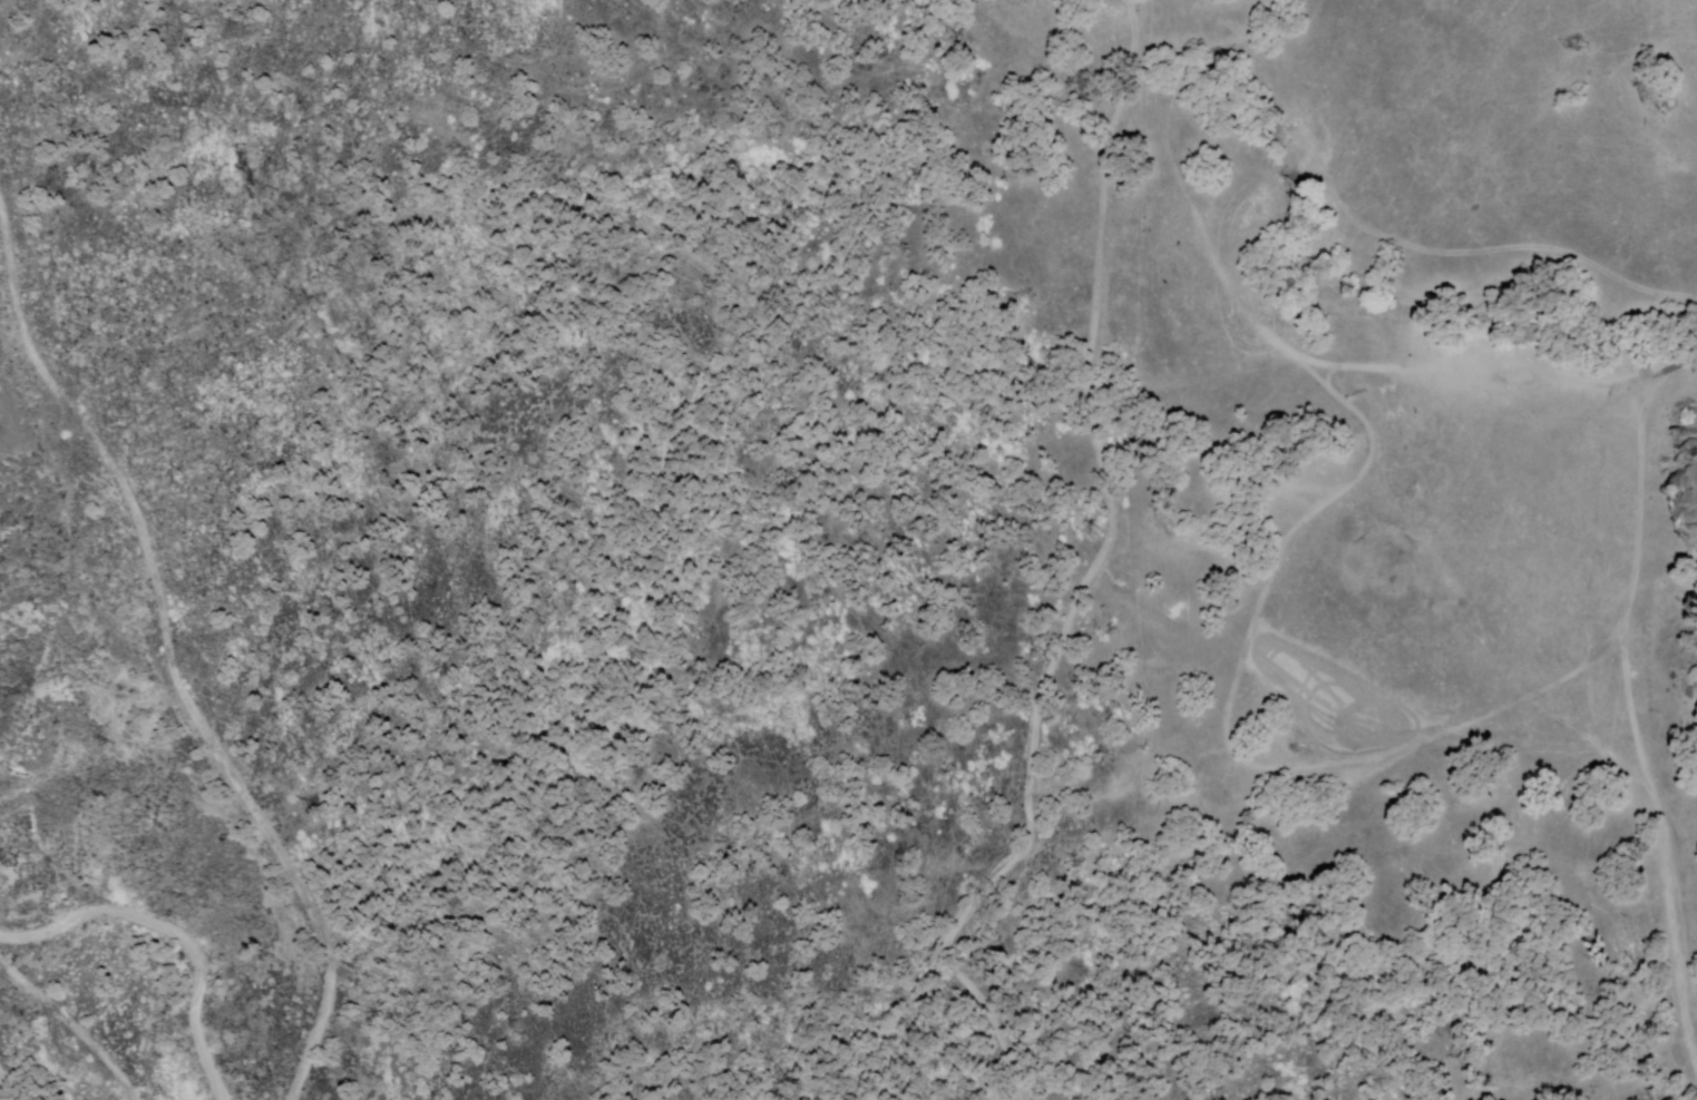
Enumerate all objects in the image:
building: (1520, 334)
road: (1313, 363)
road: (1105, 448)
road: (170, 934)

